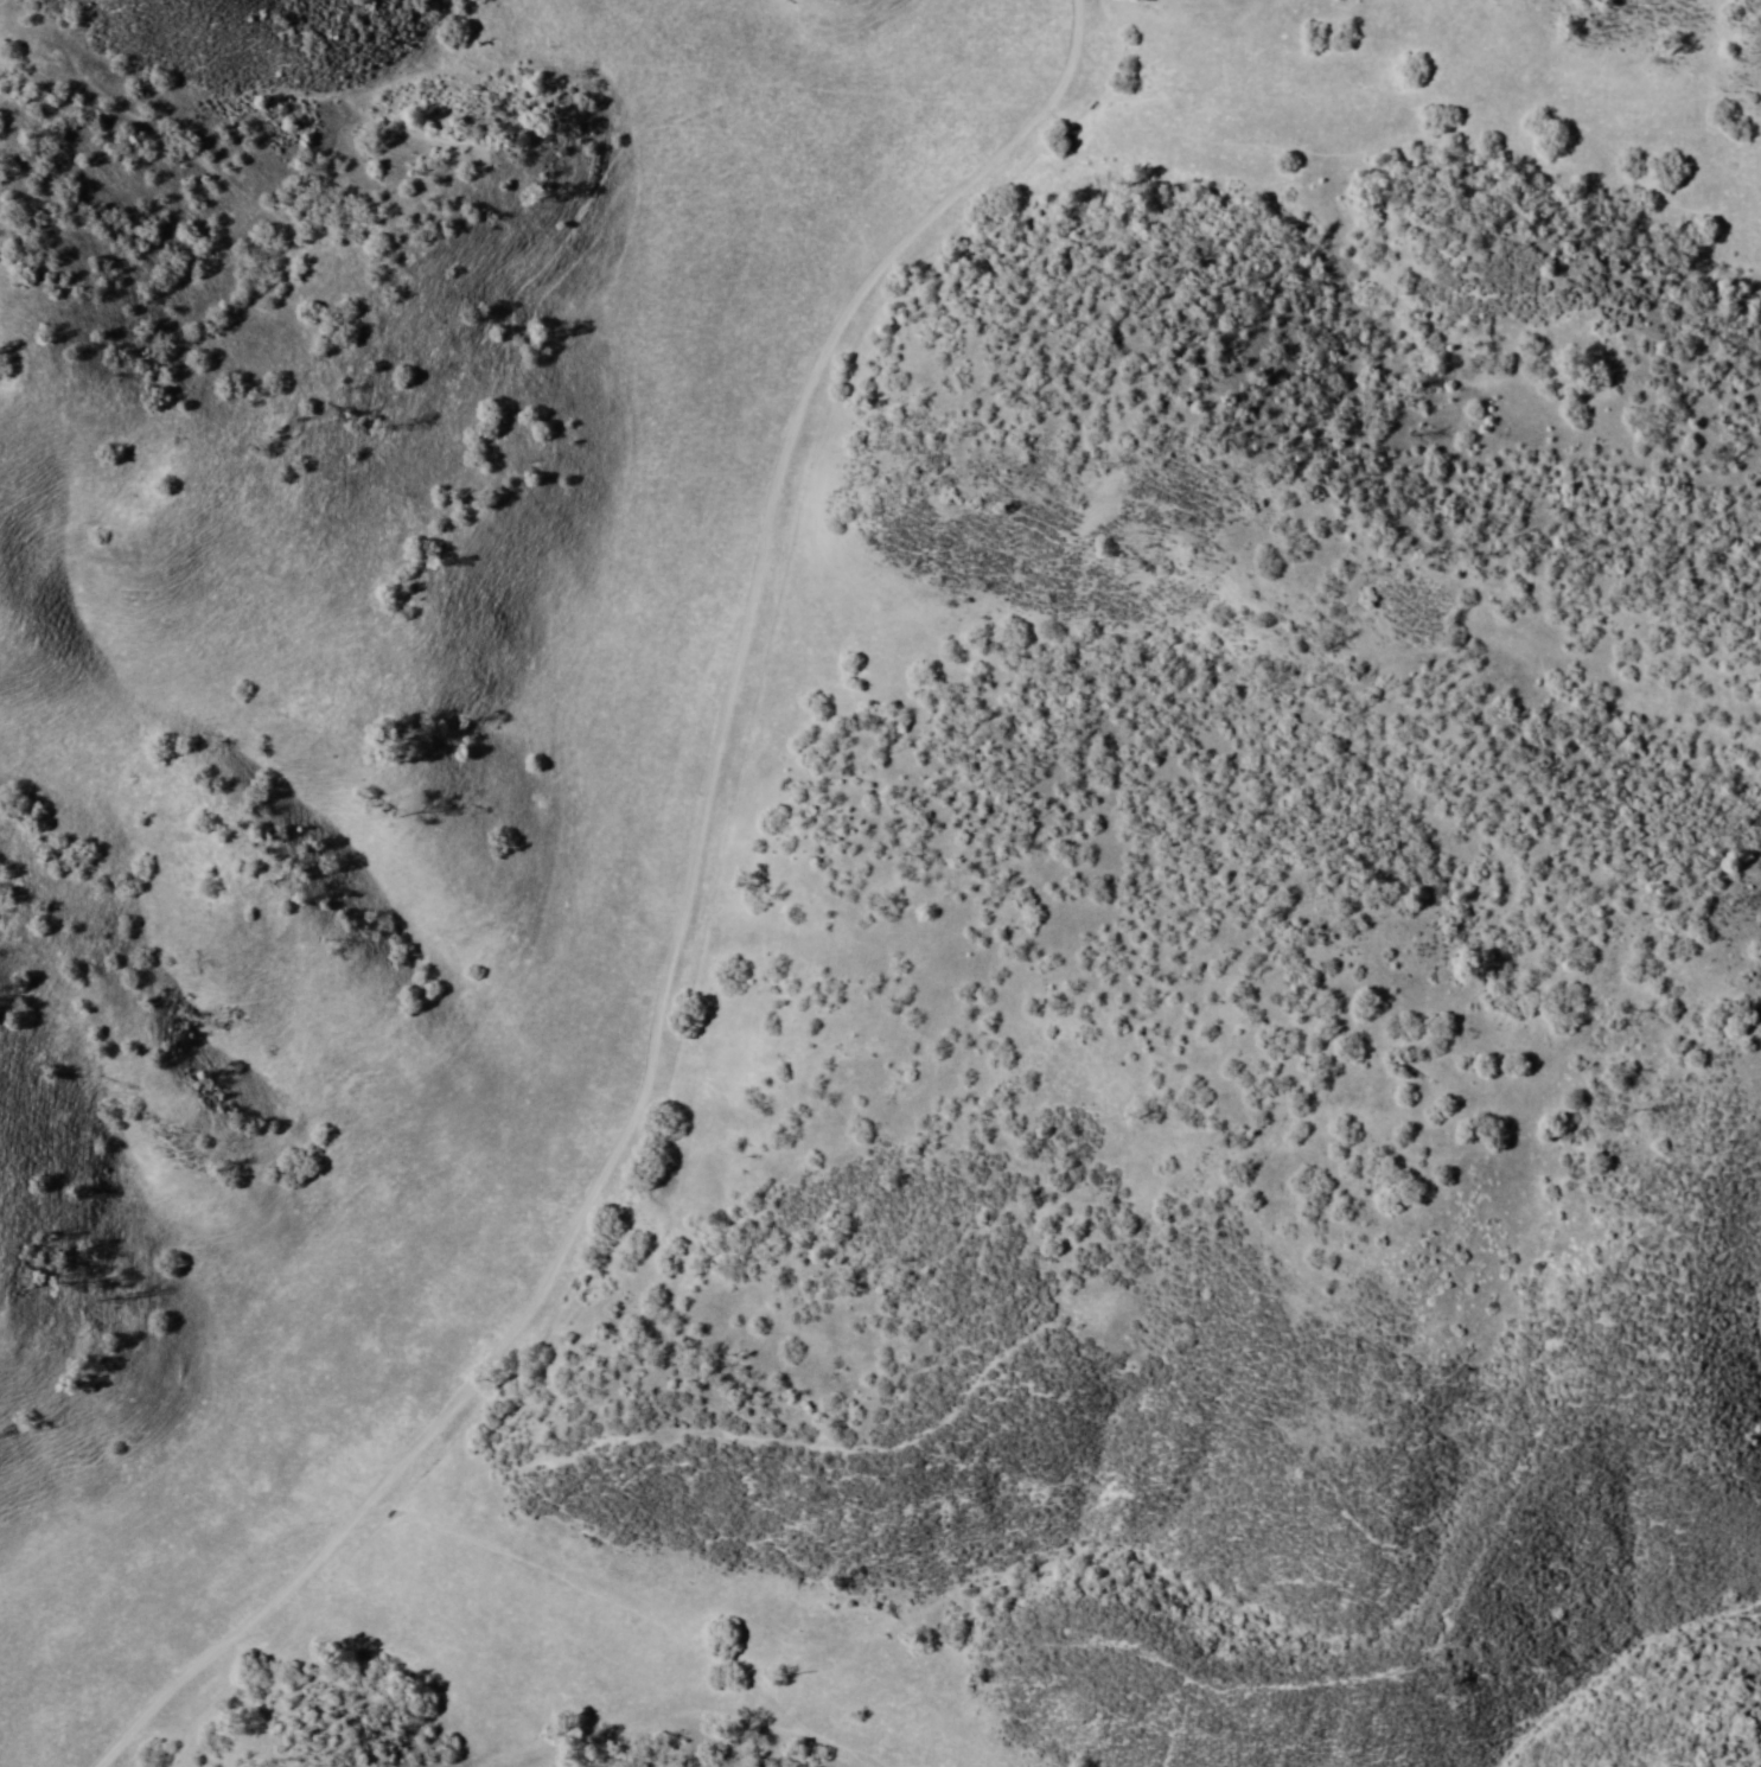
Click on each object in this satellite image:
road: (684, 930)

